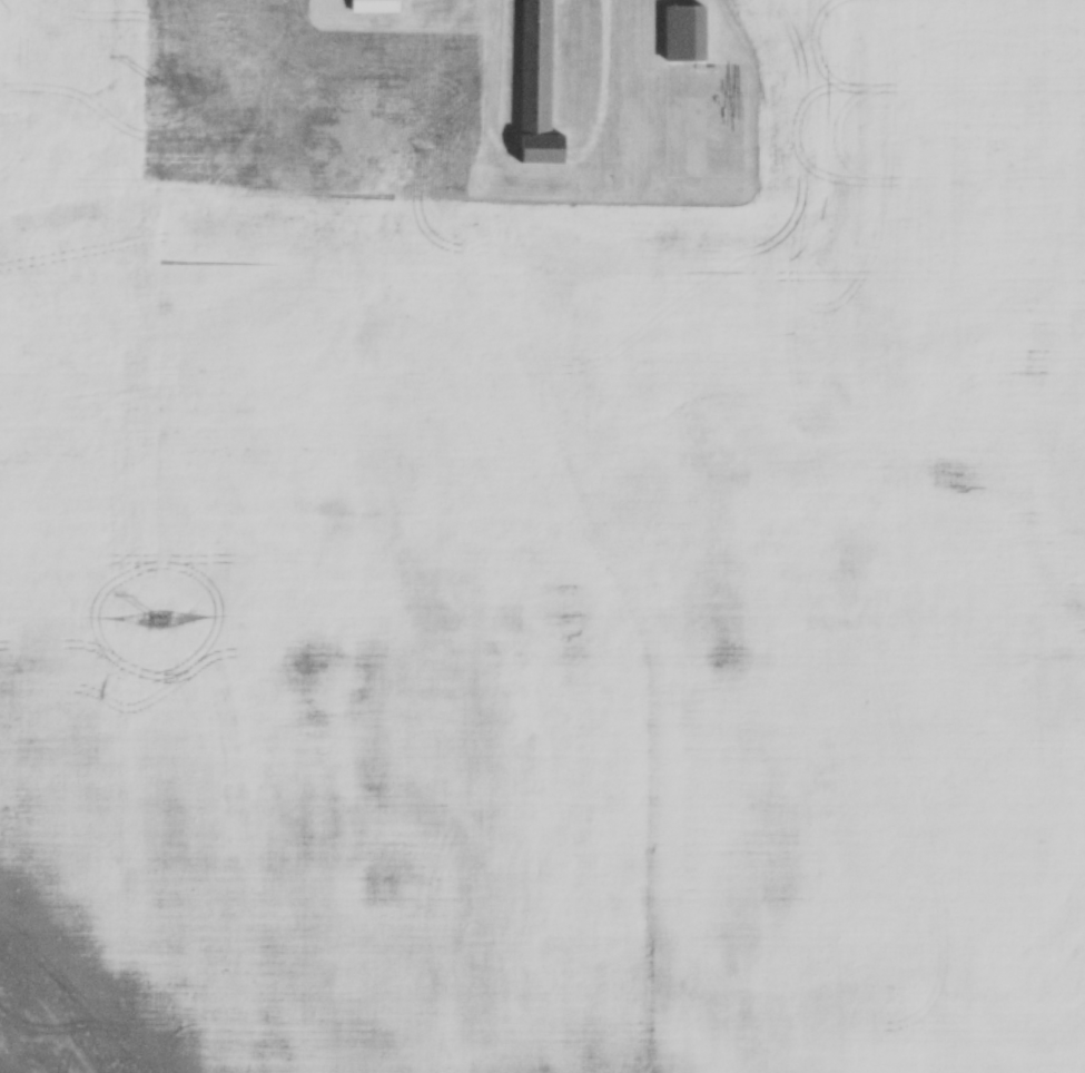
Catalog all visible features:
building: (376, 6)
building: (688, 33)
power tower: (158, 82)
building: (541, 87)
power tower: (162, 618)

